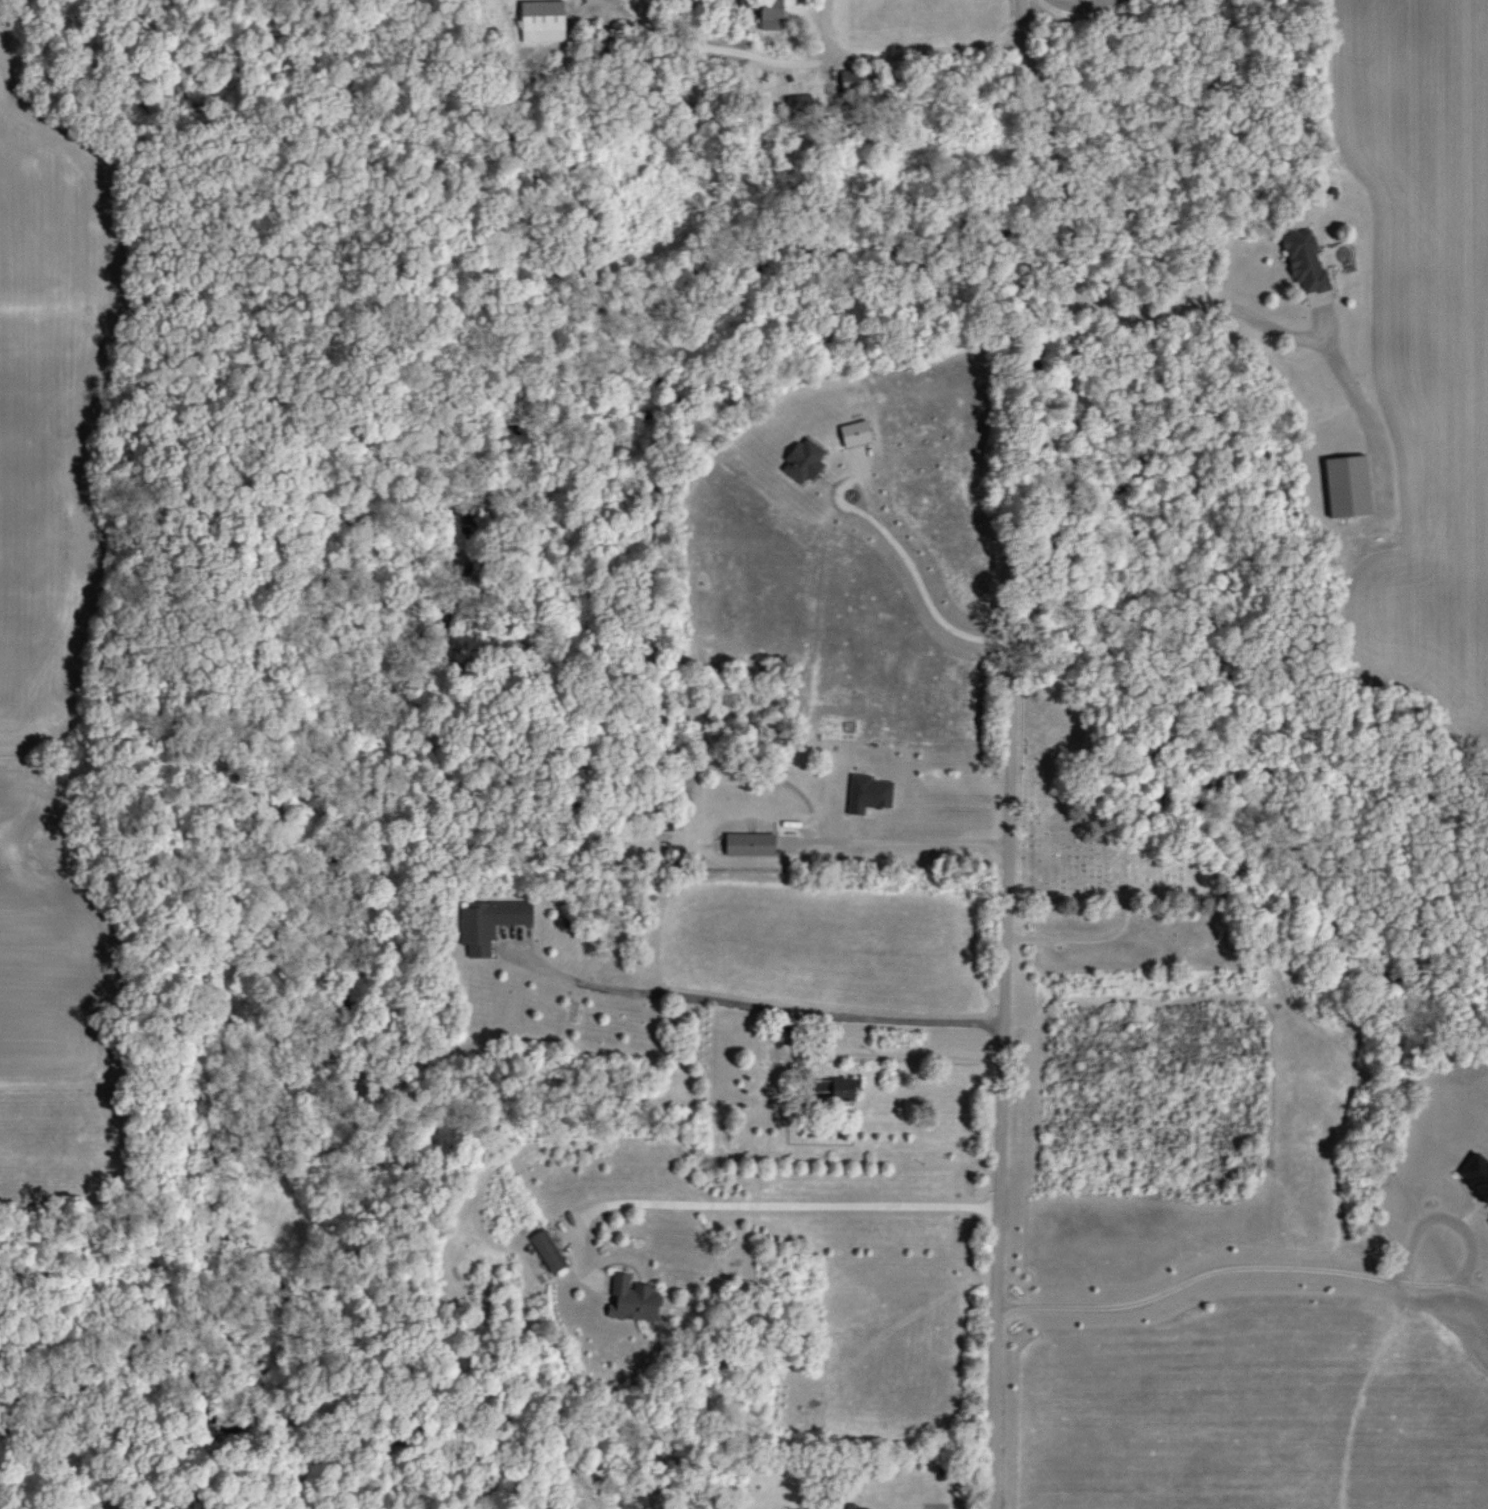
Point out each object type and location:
building: (771, 14)
building: (543, 20)
road: (812, 62)
building: (855, 78)
building: (800, 109)
building: (1305, 261)
road: (1195, 315)
building: (855, 432)
building: (803, 460)
road: (853, 480)
building: (1347, 486)
road: (920, 594)
road: (1008, 747)
building: (868, 793)
road: (893, 841)
building: (749, 844)
building: (490, 923)
road: (755, 1005)
road: (893, 1056)
building: (835, 1088)
building: (1476, 1174)
road: (753, 1204)
building: (548, 1250)
road: (1305, 1268)
building: (632, 1300)
building: (853, 1506)

